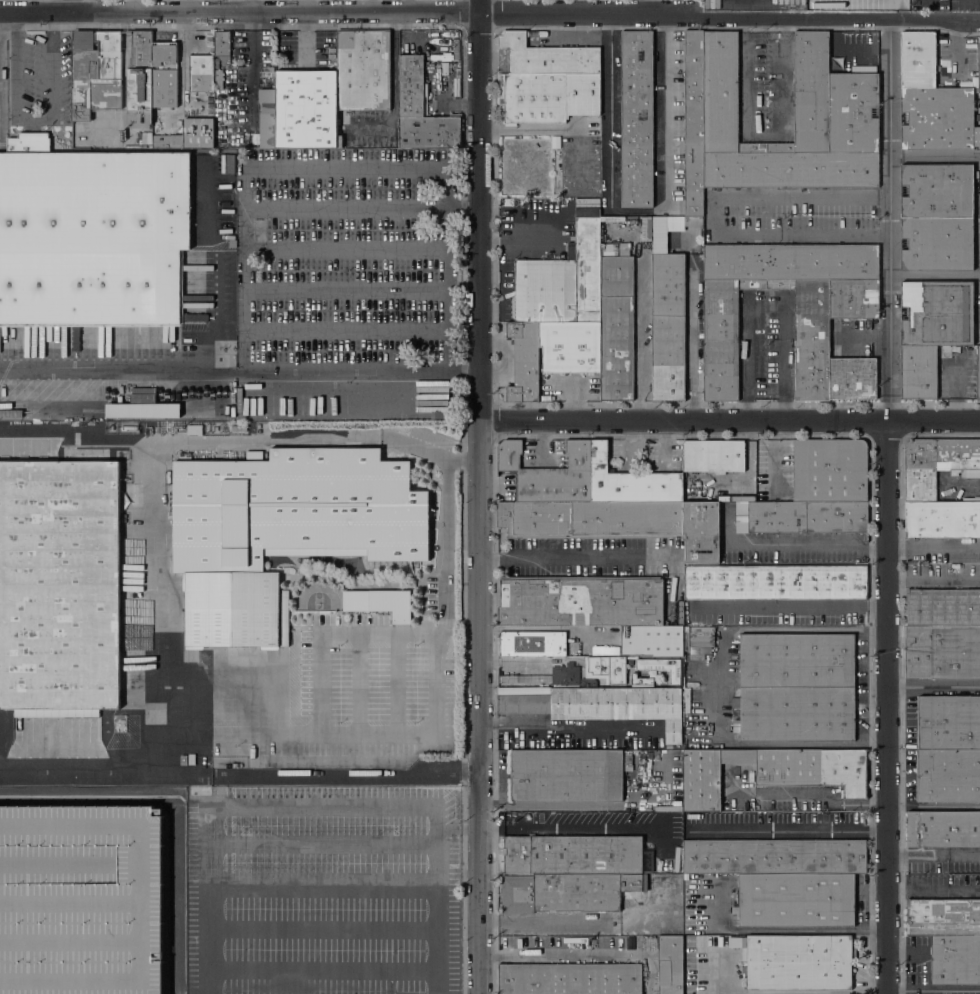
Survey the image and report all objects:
road: (649, 7)
road: (485, 14)
building: (222, 43)
building: (548, 56)
building: (979, 65)
building: (363, 69)
road: (74, 70)
building: (96, 72)
building: (201, 73)
building: (140, 74)
building: (164, 74)
building: (218, 79)
building: (548, 96)
building: (266, 99)
building: (932, 101)
building: (836, 108)
building: (306, 109)
building: (421, 111)
building: (636, 118)
road: (38, 119)
road: (887, 127)
road: (533, 128)
building: (267, 130)
building: (198, 133)
building: (147, 138)
road: (766, 138)
building: (29, 141)
building: (167, 141)
building: (339, 141)
building: (556, 141)
building: (227, 163)
building: (693, 201)
road: (265, 208)
road: (638, 210)
building: (937, 217)
building: (645, 228)
road: (789, 234)
building: (93, 237)
building: (232, 243)
parking lot: (345, 255)
road: (449, 271)
building: (562, 281)
building: (617, 325)
building: (932, 330)
road: (744, 337)
building: (811, 337)
building: (570, 346)
road: (690, 348)
road: (784, 357)
building: (524, 361)
road: (240, 369)
building: (978, 370)
building: (143, 406)
building: (11, 413)
road: (730, 423)
building: (194, 429)
road: (75, 441)
road: (150, 455)
building: (713, 455)
road: (771, 459)
building: (937, 464)
building: (830, 470)
building: (549, 475)
building: (630, 481)
road: (480, 496)
building: (736, 498)
building: (807, 517)
building: (535, 519)
building: (627, 520)
building: (942, 520)
building: (282, 531)
building: (701, 532)
road: (787, 544)
road: (932, 545)
road: (577, 557)
road: (933, 578)
building: (775, 582)
building: (59, 584)
building: (377, 600)
building: (580, 600)
road: (789, 605)
building: (943, 607)
building: (401, 617)
building: (652, 640)
building: (533, 643)
building: (605, 650)
building: (942, 651)
road: (519, 660)
building: (796, 661)
building: (663, 668)
building: (640, 679)
road: (360, 682)
road: (397, 682)
road: (718, 685)
parking lot: (365, 694)
building: (608, 696)
building: (523, 701)
road: (886, 707)
building: (795, 714)
building: (949, 721)
road: (569, 731)
road: (243, 733)
road: (417, 734)
building: (191, 759)
building: (183, 760)
road: (84, 761)
building: (814, 769)
road: (189, 770)
building: (566, 774)
building: (948, 775)
road: (345, 776)
building: (707, 777)
road: (822, 797)
road: (590, 807)
road: (176, 809)
road: (589, 824)
road: (788, 829)
building: (943, 829)
building: (572, 854)
building: (774, 856)
road: (933, 889)
parking lot: (323, 890)
building: (583, 891)
building: (517, 894)
building: (81, 899)
parking garage: (81, 899)
building: (796, 900)
road: (136, 901)
building: (943, 917)
road: (779, 930)
road: (574, 954)
building: (955, 960)
building: (796, 962)
building: (670, 964)
building: (743, 970)
building: (571, 979)
road: (779, 992)

